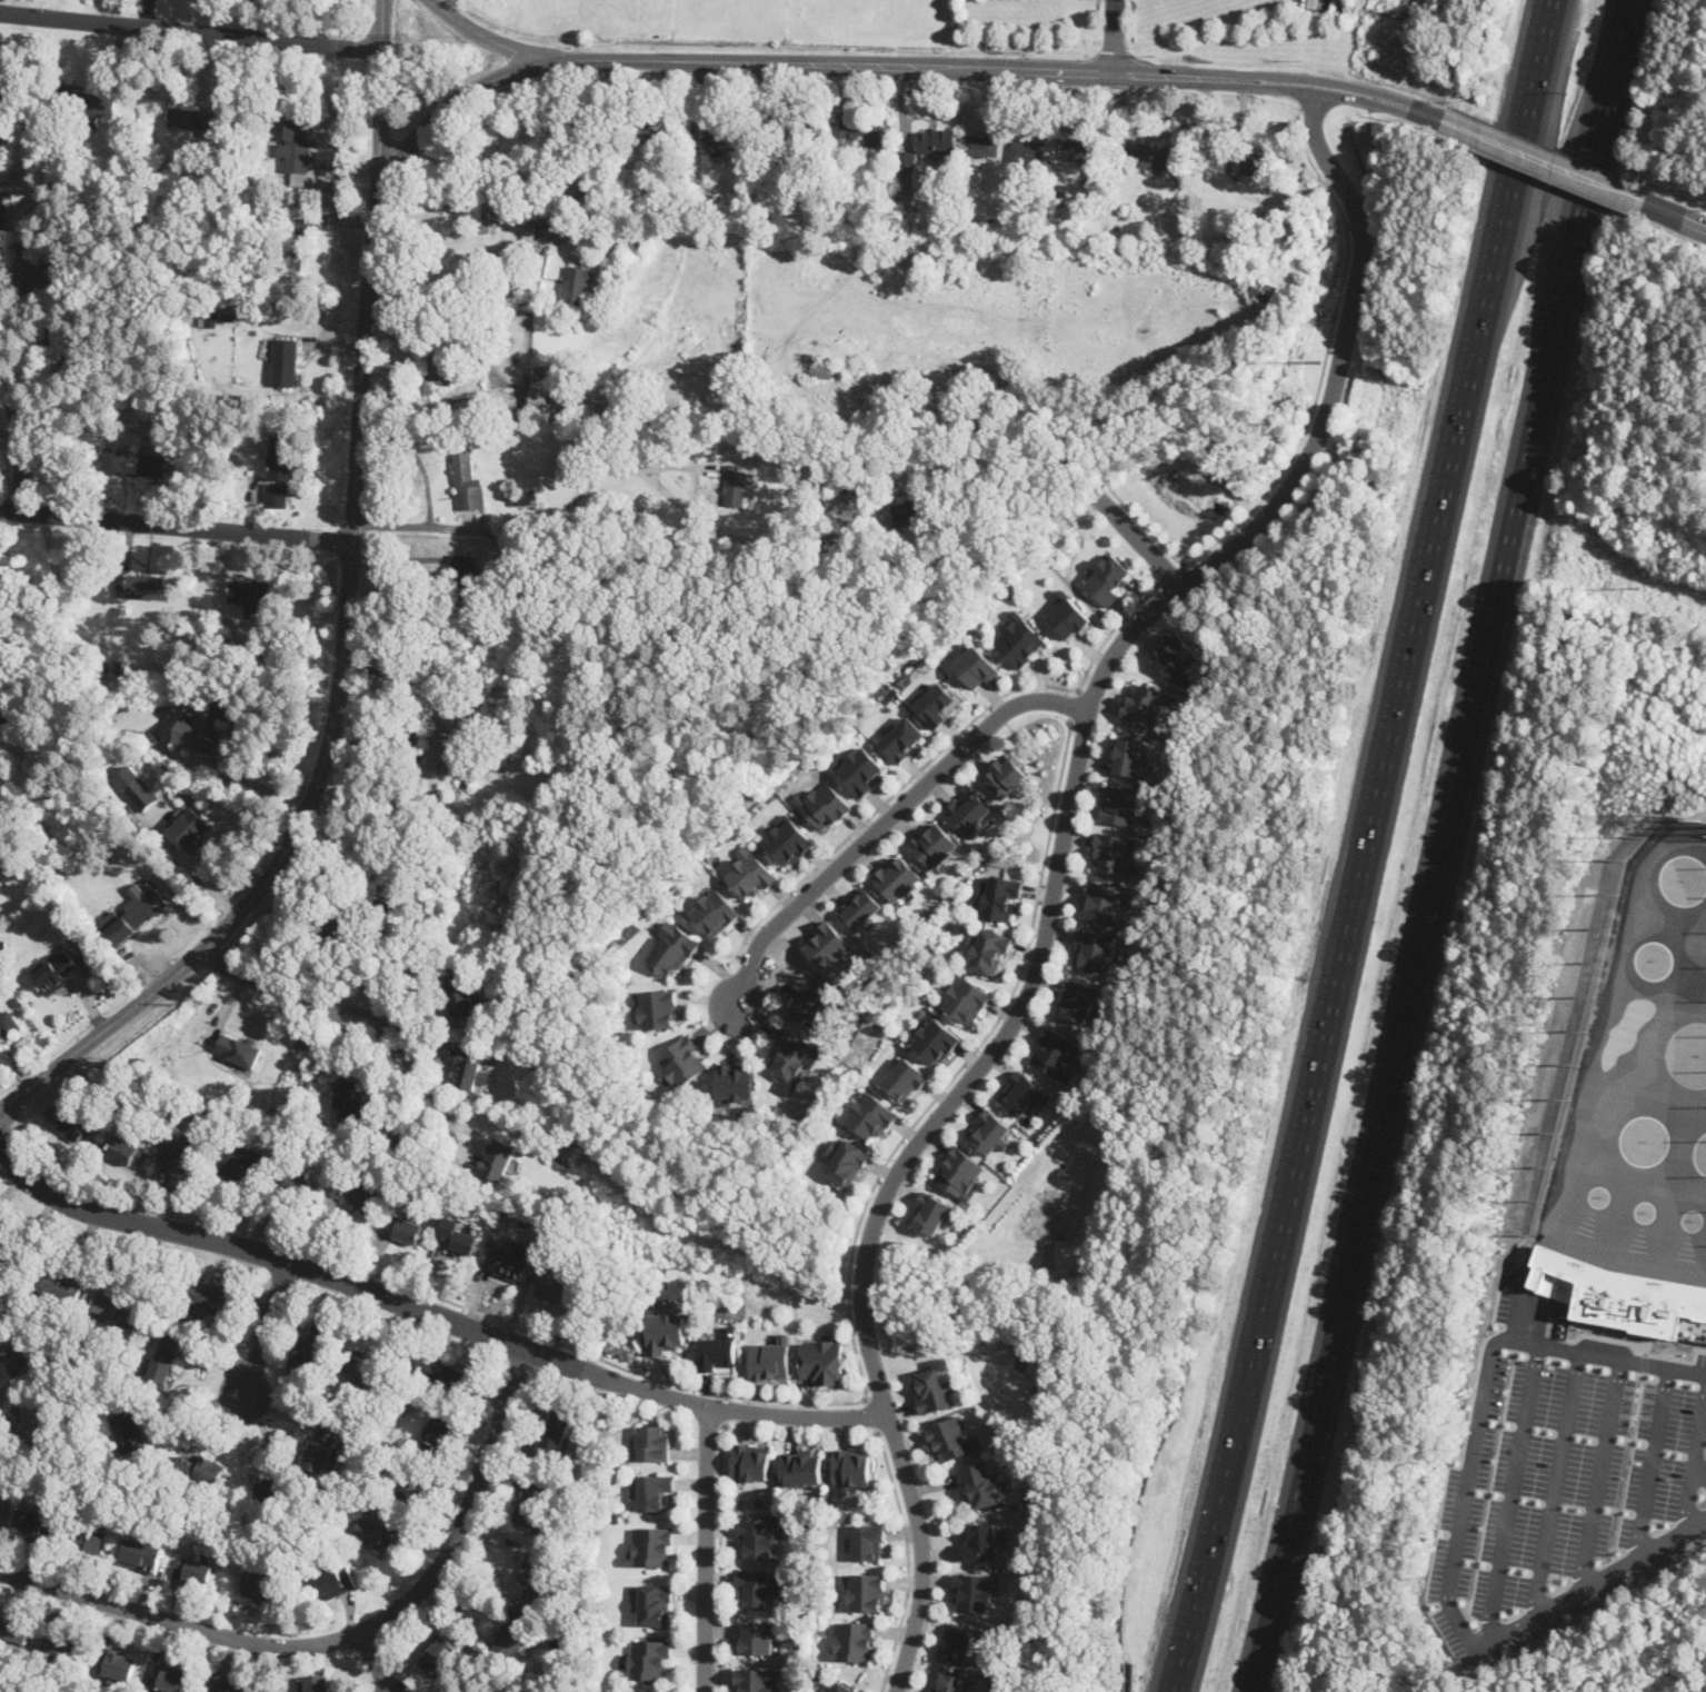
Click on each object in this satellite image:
road: (1547, 21)
road: (1549, 21)
road: (381, 26)
road: (189, 32)
road: (1113, 36)
road: (487, 37)
road: (1623, 38)
road: (786, 61)
road: (1318, 79)
road: (1316, 93)
building: (86, 104)
road: (1305, 108)
road: (1416, 109)
building: (202, 121)
road: (380, 122)
building: (650, 131)
building: (861, 133)
building: (794, 136)
building: (727, 139)
building: (937, 142)
building: (982, 147)
road: (585, 148)
building: (1081, 150)
building: (298, 151)
building: (1030, 151)
building: (1149, 156)
road: (1543, 160)
building: (1257, 163)
building: (1237, 170)
building: (879, 172)
building: (1179, 172)
building: (905, 176)
building: (259, 181)
building: (1295, 181)
building: (1113, 185)
building: (1061, 189)
building: (329, 210)
road: (1675, 213)
building: (2, 220)
building: (1247, 220)
building: (488, 227)
building: (529, 236)
building: (298, 237)
building: (911, 256)
building: (618, 268)
building: (48, 271)
building: (577, 285)
building: (1264, 291)
building: (229, 312)
building: (440, 313)
building: (450, 313)
building: (487, 318)
building: (211, 319)
building: (61, 341)
building: (285, 362)
power tower: (1314, 362)
building: (820, 367)
building: (435, 372)
building: (537, 402)
building: (465, 407)
road: (1314, 407)
road: (17, 442)
building: (132, 462)
building: (278, 472)
building: (466, 481)
building: (737, 486)
building: (860, 486)
building: (526, 497)
road: (9, 508)
building: (908, 514)
building: (649, 516)
road: (184, 527)
road: (510, 533)
road: (1144, 548)
building: (519, 556)
building: (465, 570)
road: (1173, 576)
building: (1108, 579)
building: (146, 587)
power tower: (1637, 589)
building: (248, 594)
building: (1006, 595)
building: (48, 611)
building: (1069, 615)
building: (1020, 639)
building: (235, 653)
building: (1176, 659)
building: (974, 664)
building: (117, 668)
building: (172, 676)
building: (938, 704)
road: (1075, 705)
building: (1145, 705)
building: (860, 711)
road: (333, 719)
building: (6, 720)
building: (202, 729)
building: (449, 731)
building: (836, 731)
building: (136, 734)
building: (502, 738)
building: (902, 738)
building: (490, 749)
road: (940, 750)
building: (1127, 756)
building: (459, 767)
building: (861, 770)
building: (1007, 776)
road: (247, 782)
building: (138, 788)
building: (432, 790)
building: (824, 805)
building: (1120, 805)
building: (559, 808)
building: (969, 812)
road: (880, 823)
building: (605, 825)
building: (191, 830)
building: (789, 839)
building: (934, 845)
road: (1443, 846)
building: (1116, 854)
building: (96, 857)
road: (1358, 867)
road: (1055, 870)
building: (750, 873)
building: (899, 877)
building: (999, 896)
building: (382, 900)
building: (1104, 902)
building: (144, 904)
building: (82, 905)
building: (860, 908)
building: (715, 912)
building: (411, 915)
building: (335, 918)
building: (830, 945)
building: (674, 947)
building: (1096, 948)
building: (990, 949)
building: (56, 972)
road: (388, 975)
building: (1143, 976)
building: (965, 997)
building: (461, 998)
building: (1078, 999)
building: (807, 1002)
road: (320, 1003)
building: (658, 1007)
building: (8, 1024)
building: (936, 1041)
building: (239, 1053)
building: (791, 1054)
building: (1056, 1054)
building: (682, 1063)
building: (468, 1069)
road: (408, 1071)
park: (1642, 1075)
building: (906, 1078)
building: (308, 1084)
building: (735, 1084)
building: (1024, 1093)
building: (350, 1099)
building: (127, 1105)
building: (871, 1115)
building: (73, 1127)
building: (991, 1133)
building: (305, 1141)
building: (127, 1151)
building: (180, 1157)
building: (498, 1159)
building: (846, 1161)
building: (243, 1164)
building: (961, 1173)
building: (295, 1185)
building: (356, 1195)
building: (932, 1213)
building: (526, 1221)
building: (409, 1232)
building: (456, 1237)
building: (6, 1258)
building: (510, 1264)
building: (56, 1283)
building: (559, 1290)
building: (1617, 1293)
building: (210, 1295)
building: (117, 1308)
road: (429, 1315)
building: (66, 1324)
road: (266, 1328)
building: (666, 1330)
building: (311, 1350)
building: (719, 1350)
road: (1638, 1351)
building: (771, 1358)
building: (19, 1361)
building: (163, 1361)
building: (822, 1361)
building: (363, 1365)
building: (440, 1374)
building: (378, 1387)
building: (932, 1390)
building: (391, 1393)
road: (779, 1402)
road: (190, 1407)
road: (725, 1412)
road: (872, 1413)
building: (41, 1423)
building: (357, 1430)
building: (440, 1431)
building: (129, 1432)
building: (555, 1432)
building: (952, 1437)
building: (655, 1441)
building: (321, 1450)
building: (370, 1457)
building: (750, 1462)
road: (1653, 1462)
building: (852, 1466)
building: (183, 1467)
building: (802, 1467)
road: (1695, 1467)
building: (209, 1472)
road: (1602, 1473)
road: (1700, 1473)
parking lot: (1563, 1482)
road: (1557, 1483)
building: (979, 1484)
building: (408, 1487)
building: (652, 1491)
road: (1512, 1492)
building: (269, 1493)
building: (575, 1500)
building: (309, 1501)
building: (0, 1506)
building: (531, 1511)
road: (1459, 1523)
building: (186, 1525)
building: (43, 1529)
building: (376, 1534)
building: (285, 1535)
building: (758, 1539)
building: (979, 1540)
building: (868, 1541)
building: (300, 1543)
building: (650, 1546)
building: (87, 1547)
road: (706, 1550)
building: (140, 1556)
road: (721, 1557)
road: (908, 1562)
building: (194, 1574)
building: (533, 1575)
building: (333, 1582)
building: (756, 1586)
building: (262, 1588)
building: (868, 1591)
building: (976, 1591)
building: (654, 1603)
building: (576, 1625)
building: (14, 1630)
building: (515, 1634)
building: (757, 1638)
road: (343, 1639)
building: (855, 1640)
building: (958, 1642)
building: (70, 1649)
building: (441, 1651)
building: (649, 1661)
road: (376, 1663)
building: (116, 1665)
building: (149, 1676)
building: (169, 1679)
building: (756, 1680)
building: (949, 1682)
building: (318, 1684)
building: (230, 1686)
building: (842, 1688)
building: (825, 1690)

